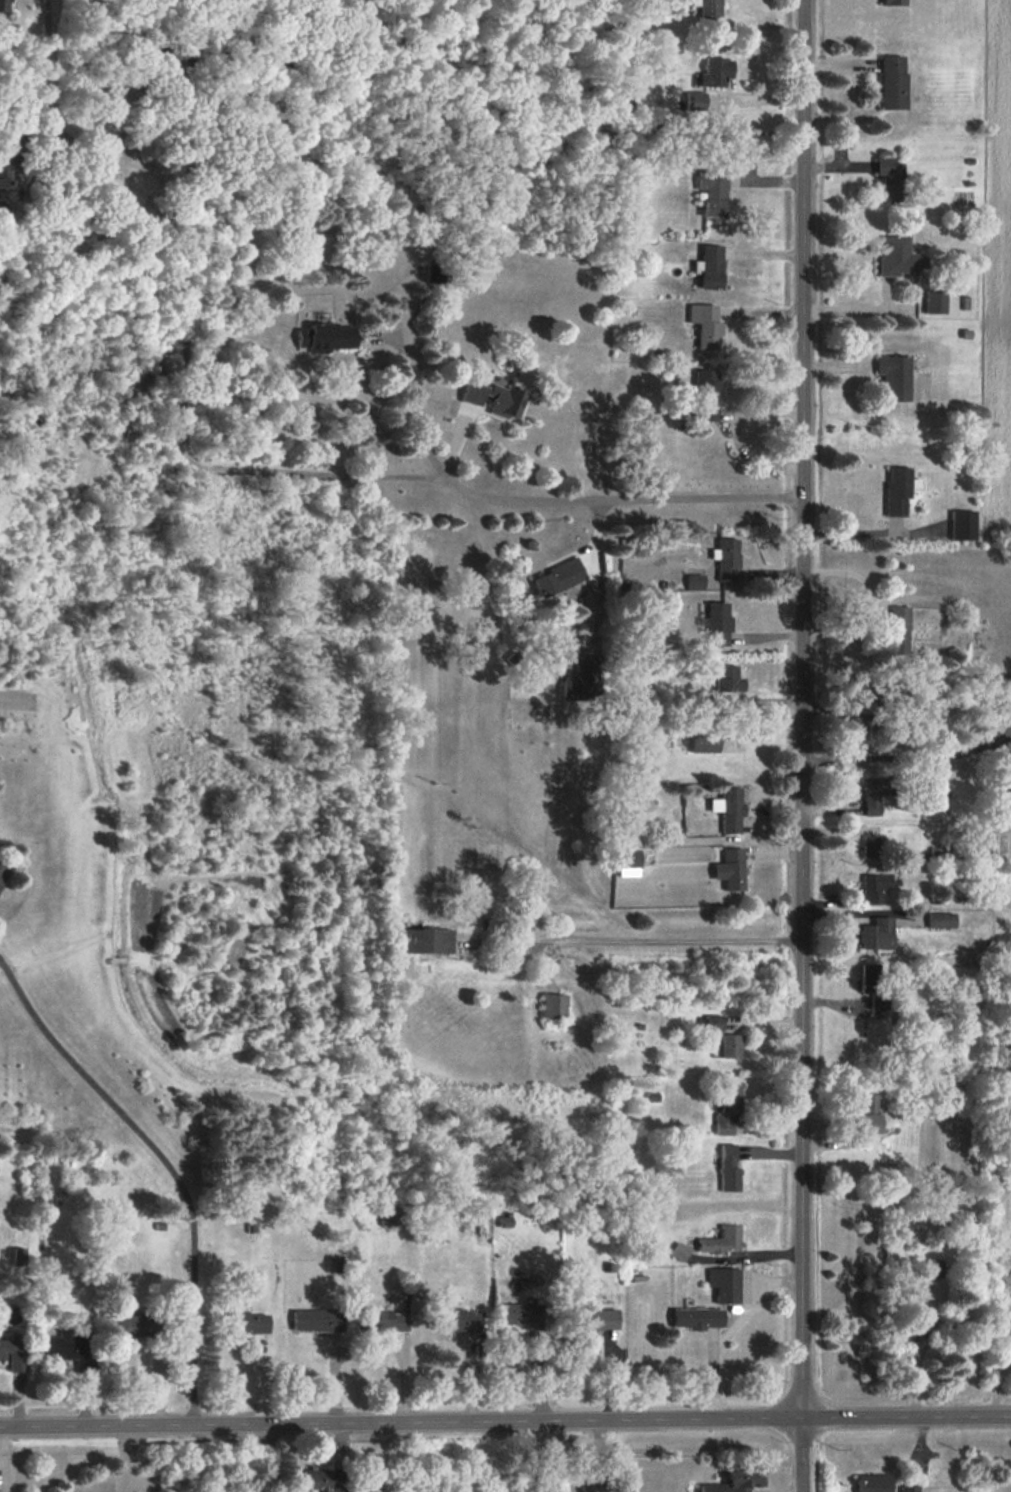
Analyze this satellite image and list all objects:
building: (892, 2)
building: (4, 5)
building: (714, 71)
building: (892, 82)
building: (695, 99)
building: (4, 164)
building: (889, 178)
building: (712, 192)
building: (624, 247)
building: (895, 256)
building: (708, 266)
building: (935, 301)
road: (859, 309)
building: (705, 325)
building: (326, 337)
building: (894, 377)
road: (416, 393)
building: (705, 395)
building: (494, 398)
road: (230, 469)
building: (897, 490)
building: (962, 525)
road: (868, 532)
building: (728, 560)
building: (694, 580)
building: (561, 582)
road: (873, 601)
building: (716, 623)
building: (899, 630)
building: (727, 679)
building: (582, 680)
building: (703, 741)
road: (804, 746)
road: (910, 757)
building: (872, 796)
building: (730, 809)
building: (871, 845)
building: (627, 858)
building: (730, 869)
building: (1, 875)
building: (877, 887)
building: (941, 919)
building: (876, 933)
building: (426, 940)
road: (632, 940)
building: (868, 976)
building: (877, 1003)
building: (553, 1005)
building: (713, 1022)
building: (731, 1046)
building: (728, 1108)
building: (868, 1113)
road: (166, 1163)
building: (729, 1168)
building: (387, 1216)
building: (721, 1240)
building: (680, 1251)
building: (654, 1253)
building: (724, 1284)
building: (520, 1315)
building: (696, 1317)
building: (595, 1319)
building: (316, 1320)
building: (384, 1320)
building: (456, 1320)
building: (916, 1321)
building: (245, 1323)
building: (134, 1326)
road: (733, 1330)
building: (66, 1343)
building: (13, 1351)
road: (505, 1417)
road: (595, 1455)
building: (315, 1480)
building: (737, 1480)
building: (872, 1483)
building: (908, 1488)

